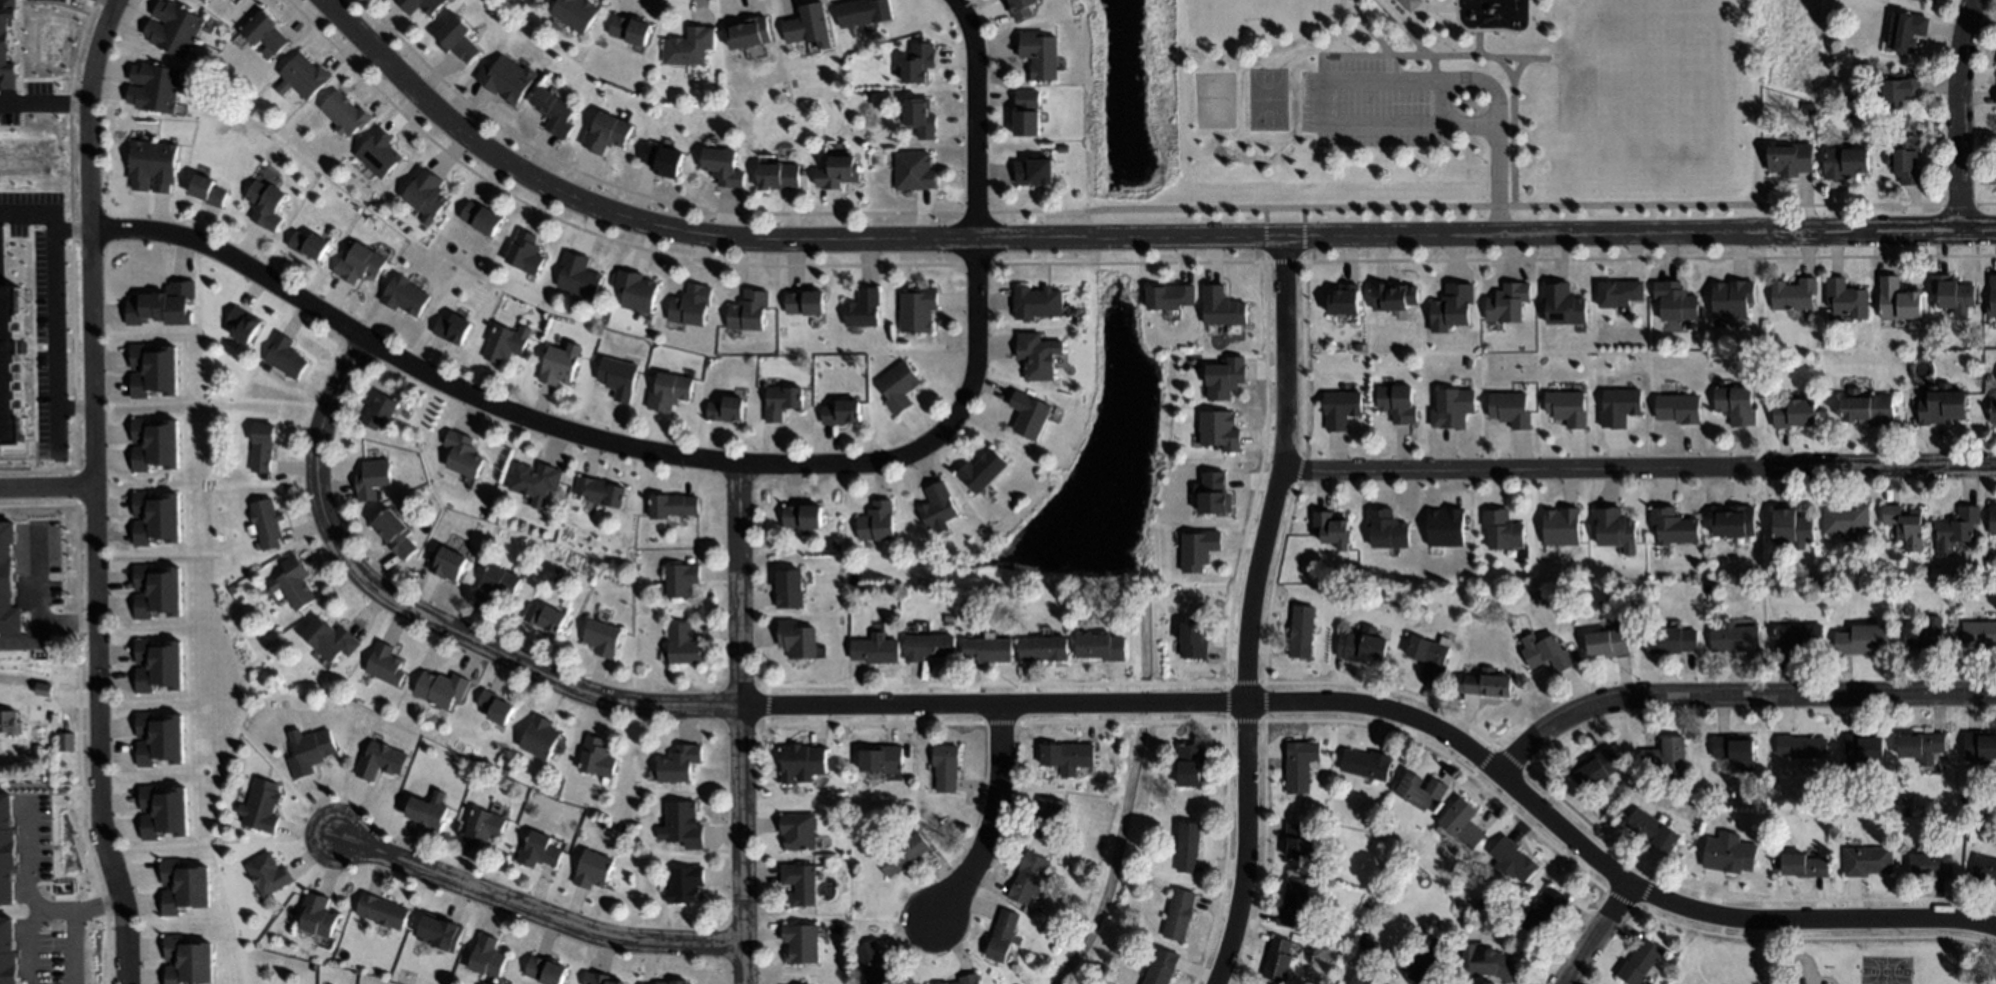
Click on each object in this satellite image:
building: (1919, 0)
building: (203, 1)
road: (107, 4)
building: (420, 5)
building: (1412, 5)
building: (1023, 9)
building: (864, 11)
building: (575, 12)
building: (809, 24)
building: (175, 27)
building: (265, 30)
building: (1906, 31)
building: (631, 32)
building: (748, 33)
building: (458, 37)
building: (7, 45)
building: (691, 49)
road: (1515, 57)
building: (1043, 58)
building: (919, 61)
road: (1519, 68)
building: (305, 74)
building: (508, 79)
building: (156, 87)
building: (1898, 89)
park: (1576, 101)
road: (44, 105)
building: (1806, 108)
parking lot: (1361, 109)
park: (1438, 109)
building: (554, 111)
building: (345, 112)
road: (1961, 115)
building: (919, 116)
road: (978, 116)
building: (1029, 117)
building: (607, 131)
building: (378, 151)
building: (663, 158)
road: (1497, 159)
building: (1791, 160)
building: (1907, 160)
building: (153, 164)
road: (1513, 164)
building: (1844, 164)
building: (722, 165)
building: (838, 170)
building: (1033, 170)
building: (777, 174)
building: (915, 174)
building: (207, 189)
building: (425, 192)
building: (267, 203)
road: (1244, 210)
building: (481, 218)
road: (1125, 238)
building: (307, 242)
building: (524, 252)
building: (360, 261)
building: (578, 274)
building: (635, 289)
building: (1170, 292)
building: (1622, 292)
building: (1952, 292)
building: (404, 293)
building: (1395, 294)
building: (1794, 295)
building: (1992, 296)
building: (1735, 297)
building: (1847, 299)
building: (1034, 300)
building: (1679, 300)
building: (1898, 300)
building: (804, 301)
building: (1344, 301)
building: (161, 303)
building: (1508, 303)
building: (1563, 303)
building: (689, 304)
building: (861, 307)
building: (748, 308)
building: (917, 308)
building: (1222, 308)
building: (1451, 308)
road: (48, 319)
building: (243, 324)
building: (452, 326)
building: (504, 341)
building: (1036, 354)
building: (285, 355)
building: (557, 364)
building: (10, 367)
building: (152, 368)
building: (618, 375)
building: (1225, 376)
building: (898, 387)
building: (668, 390)
building: (781, 401)
building: (1397, 401)
building: (1738, 403)
building: (1942, 405)
building: (1619, 407)
building: (725, 408)
building: (1567, 408)
building: (1868, 408)
building: (379, 409)
building: (1452, 409)
building: (1511, 409)
building: (1677, 409)
building: (1340, 410)
building: (841, 412)
building: (1028, 412)
building: (1993, 412)
building: (1794, 413)
building: (1219, 427)
road: (601, 439)
building: (154, 442)
building: (262, 446)
building: (461, 453)
building: (981, 469)
road: (1637, 471)
building: (372, 475)
building: (534, 479)
road: (47, 487)
road: (94, 490)
building: (601, 490)
building: (1214, 493)
building: (936, 504)
building: (671, 505)
building: (155, 516)
building: (802, 516)
building: (1739, 519)
building: (1846, 519)
building: (1992, 520)
building: (877, 521)
building: (265, 522)
building: (1904, 522)
building: (1671, 524)
building: (1503, 526)
building: (1615, 526)
building: (1792, 526)
building: (1334, 527)
building: (1385, 527)
building: (1560, 527)
building: (1445, 528)
building: (1956, 528)
building: (393, 531)
building: (1199, 547)
building: (447, 562)
building: (680, 577)
building: (495, 581)
building: (8, 582)
building: (293, 583)
building: (789, 587)
building: (156, 590)
building: (1330, 591)
road: (1252, 611)
building: (546, 616)
building: (1301, 631)
building: (1978, 634)
building: (1737, 635)
building: (602, 636)
building: (1926, 636)
building: (1798, 637)
building: (330, 638)
building: (1672, 638)
building: (796, 639)
building: (1863, 639)
building: (1193, 641)
building: (682, 642)
building: (1607, 643)
building: (1361, 645)
building: (927, 647)
building: (1100, 647)
building: (1043, 648)
building: (874, 649)
building: (986, 650)
building: (1548, 653)
building: (1430, 656)
building: (157, 663)
building: (384, 663)
building: (1488, 683)
building: (441, 687)
building: (43, 690)
road: (1736, 695)
road: (1066, 704)
building: (495, 705)
building: (10, 723)
road: (741, 723)
building: (539, 734)
building: (158, 736)
building: (1922, 746)
building: (1803, 747)
building: (1979, 748)
building: (1863, 749)
building: (1735, 750)
building: (310, 751)
building: (596, 756)
building: (1666, 756)
building: (1066, 757)
building: (381, 759)
building: (799, 760)
building: (881, 760)
building: (678, 761)
building: (1189, 763)
building: (1366, 764)
building: (1299, 766)
building: (944, 767)
building: (1598, 767)
building: (64, 779)
building: (1420, 790)
building: (1964, 797)
building: (1156, 803)
building: (261, 805)
building: (163, 810)
building: (427, 811)
building: (1046, 819)
road: (993, 823)
building: (1462, 823)
building: (483, 824)
building: (682, 824)
building: (797, 830)
building: (1652, 830)
building: (1299, 842)
building: (1096, 844)
building: (1186, 847)
building: (538, 849)
building: (7, 850)
building: (1729, 853)
building: (901, 854)
building: (1143, 859)
building: (1512, 861)
building: (1867, 861)
building: (1805, 865)
building: (1931, 865)
building: (591, 867)
building: (1382, 867)
building: (1984, 868)
building: (268, 873)
building: (1028, 878)
building: (685, 882)
building: (799, 882)
building: (182, 885)
road: (28, 903)
building: (1293, 904)
building: (381, 910)
building: (1545, 910)
road: (532, 911)
building: (316, 914)
building: (1178, 915)
building: (437, 926)
building: (1066, 933)
road: (1596, 934)
building: (1001, 936)
building: (800, 941)
building: (8, 953)
building: (486, 954)
building: (187, 960)
building: (1277, 960)
building: (1487, 962)
building: (1640, 962)
building: (1426, 963)
building: (876, 964)
building: (1160, 967)
building: (545, 969)
park: (1829, 969)
building: (600, 978)
building: (967, 979)
building: (1363, 980)
building: (671, 981)
building: (944, 983)

